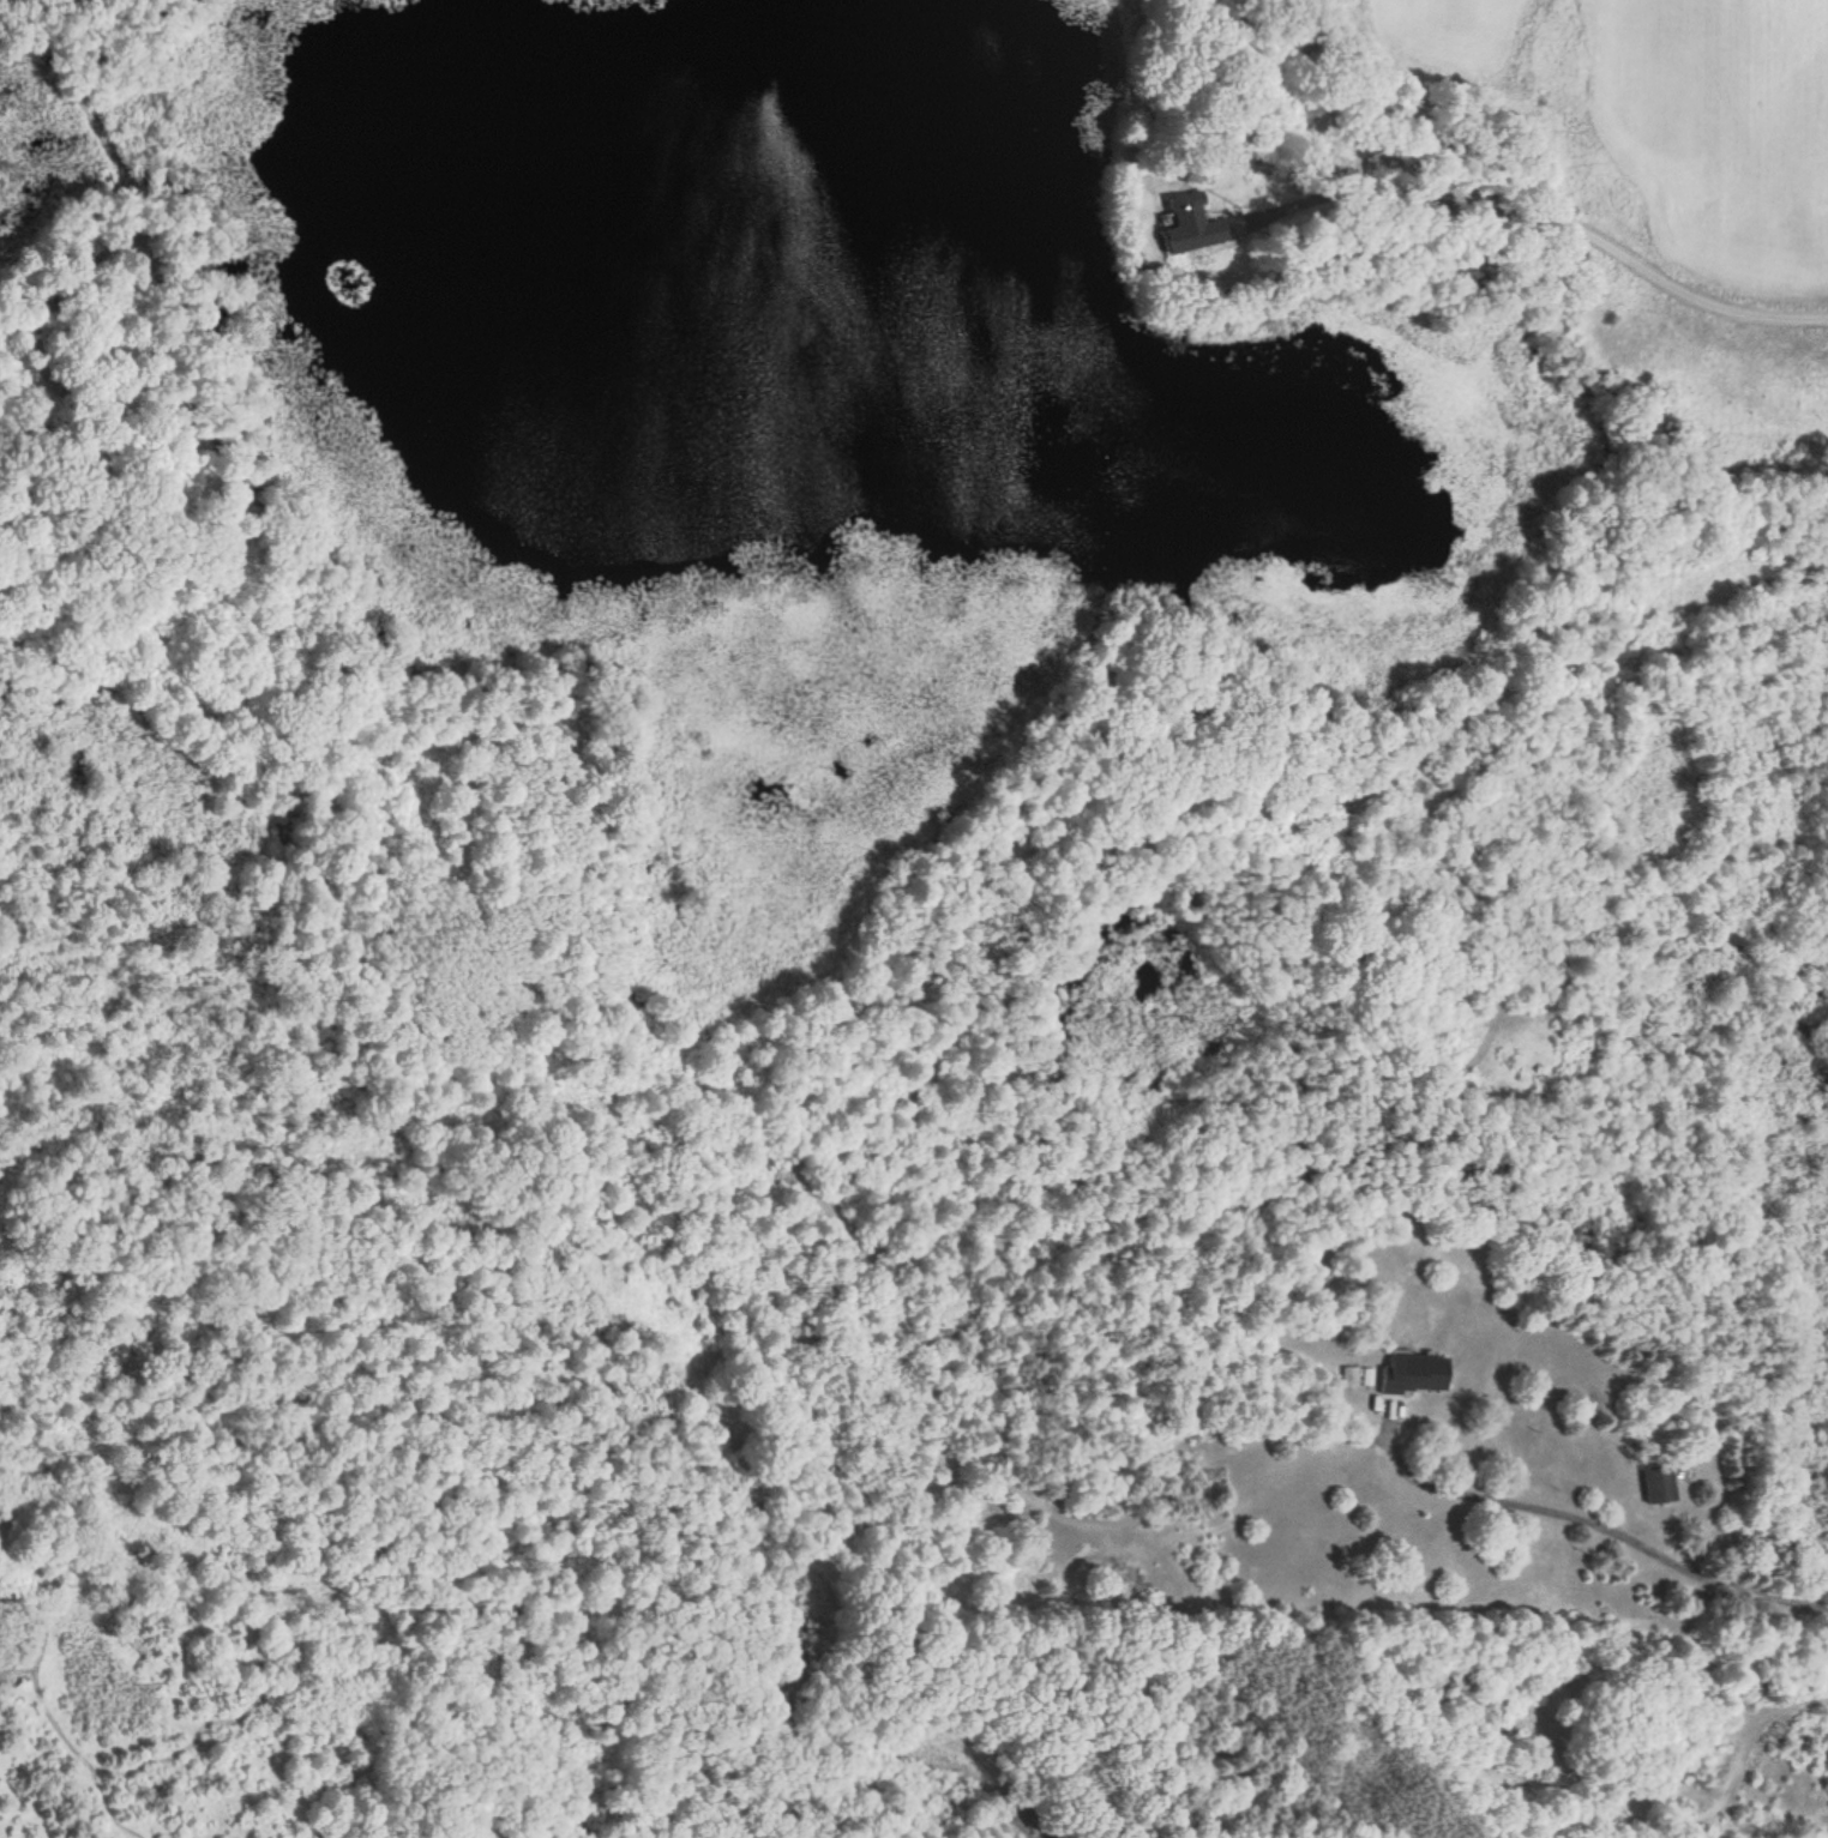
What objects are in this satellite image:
building: (1413, 1373)
building: (1658, 1483)

